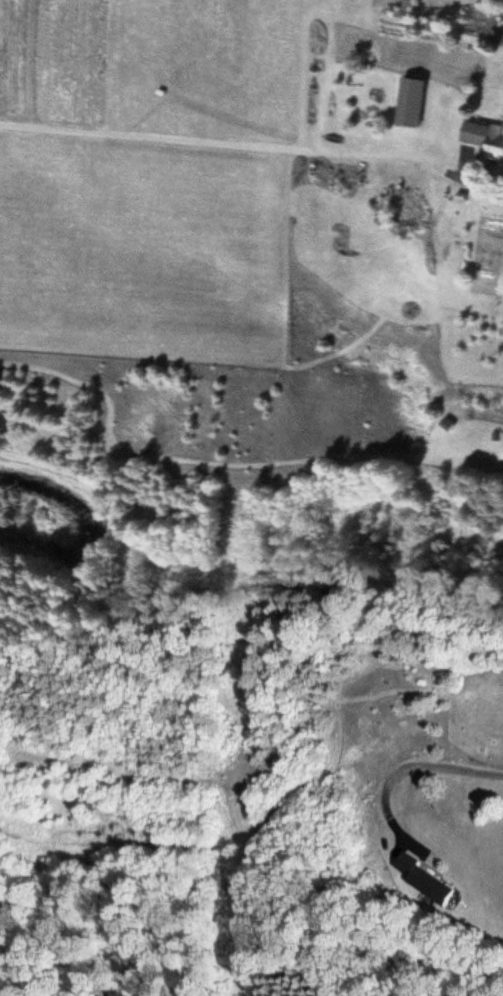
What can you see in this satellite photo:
building: (413, 103)
building: (485, 137)
building: (428, 879)

